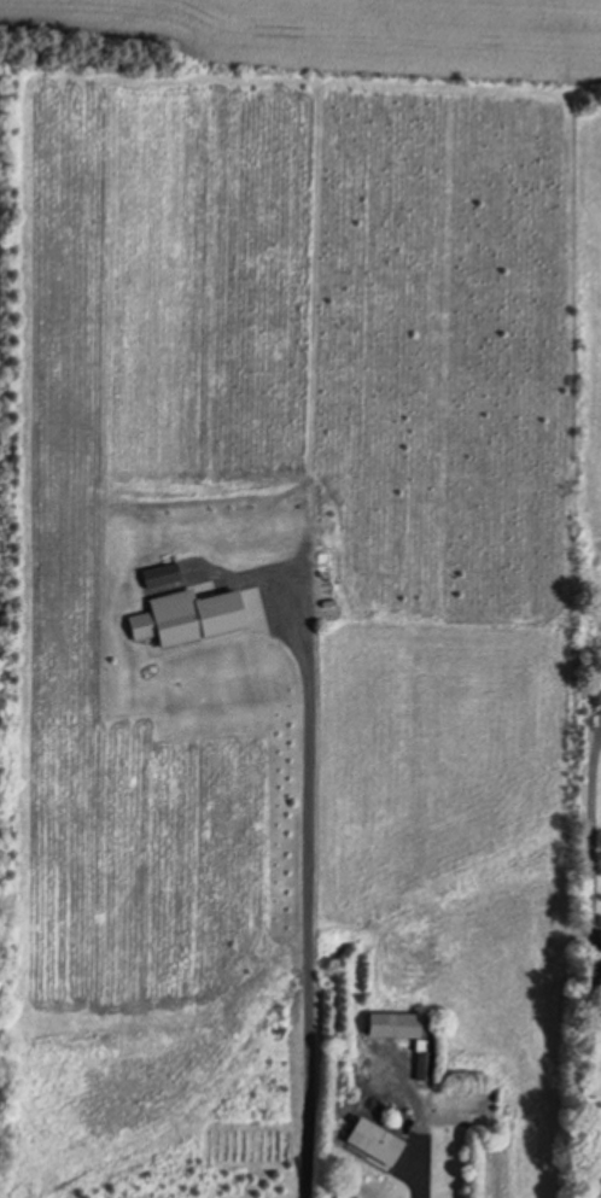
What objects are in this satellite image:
building: (596, 947)
building: (390, 1027)
building: (369, 1143)

